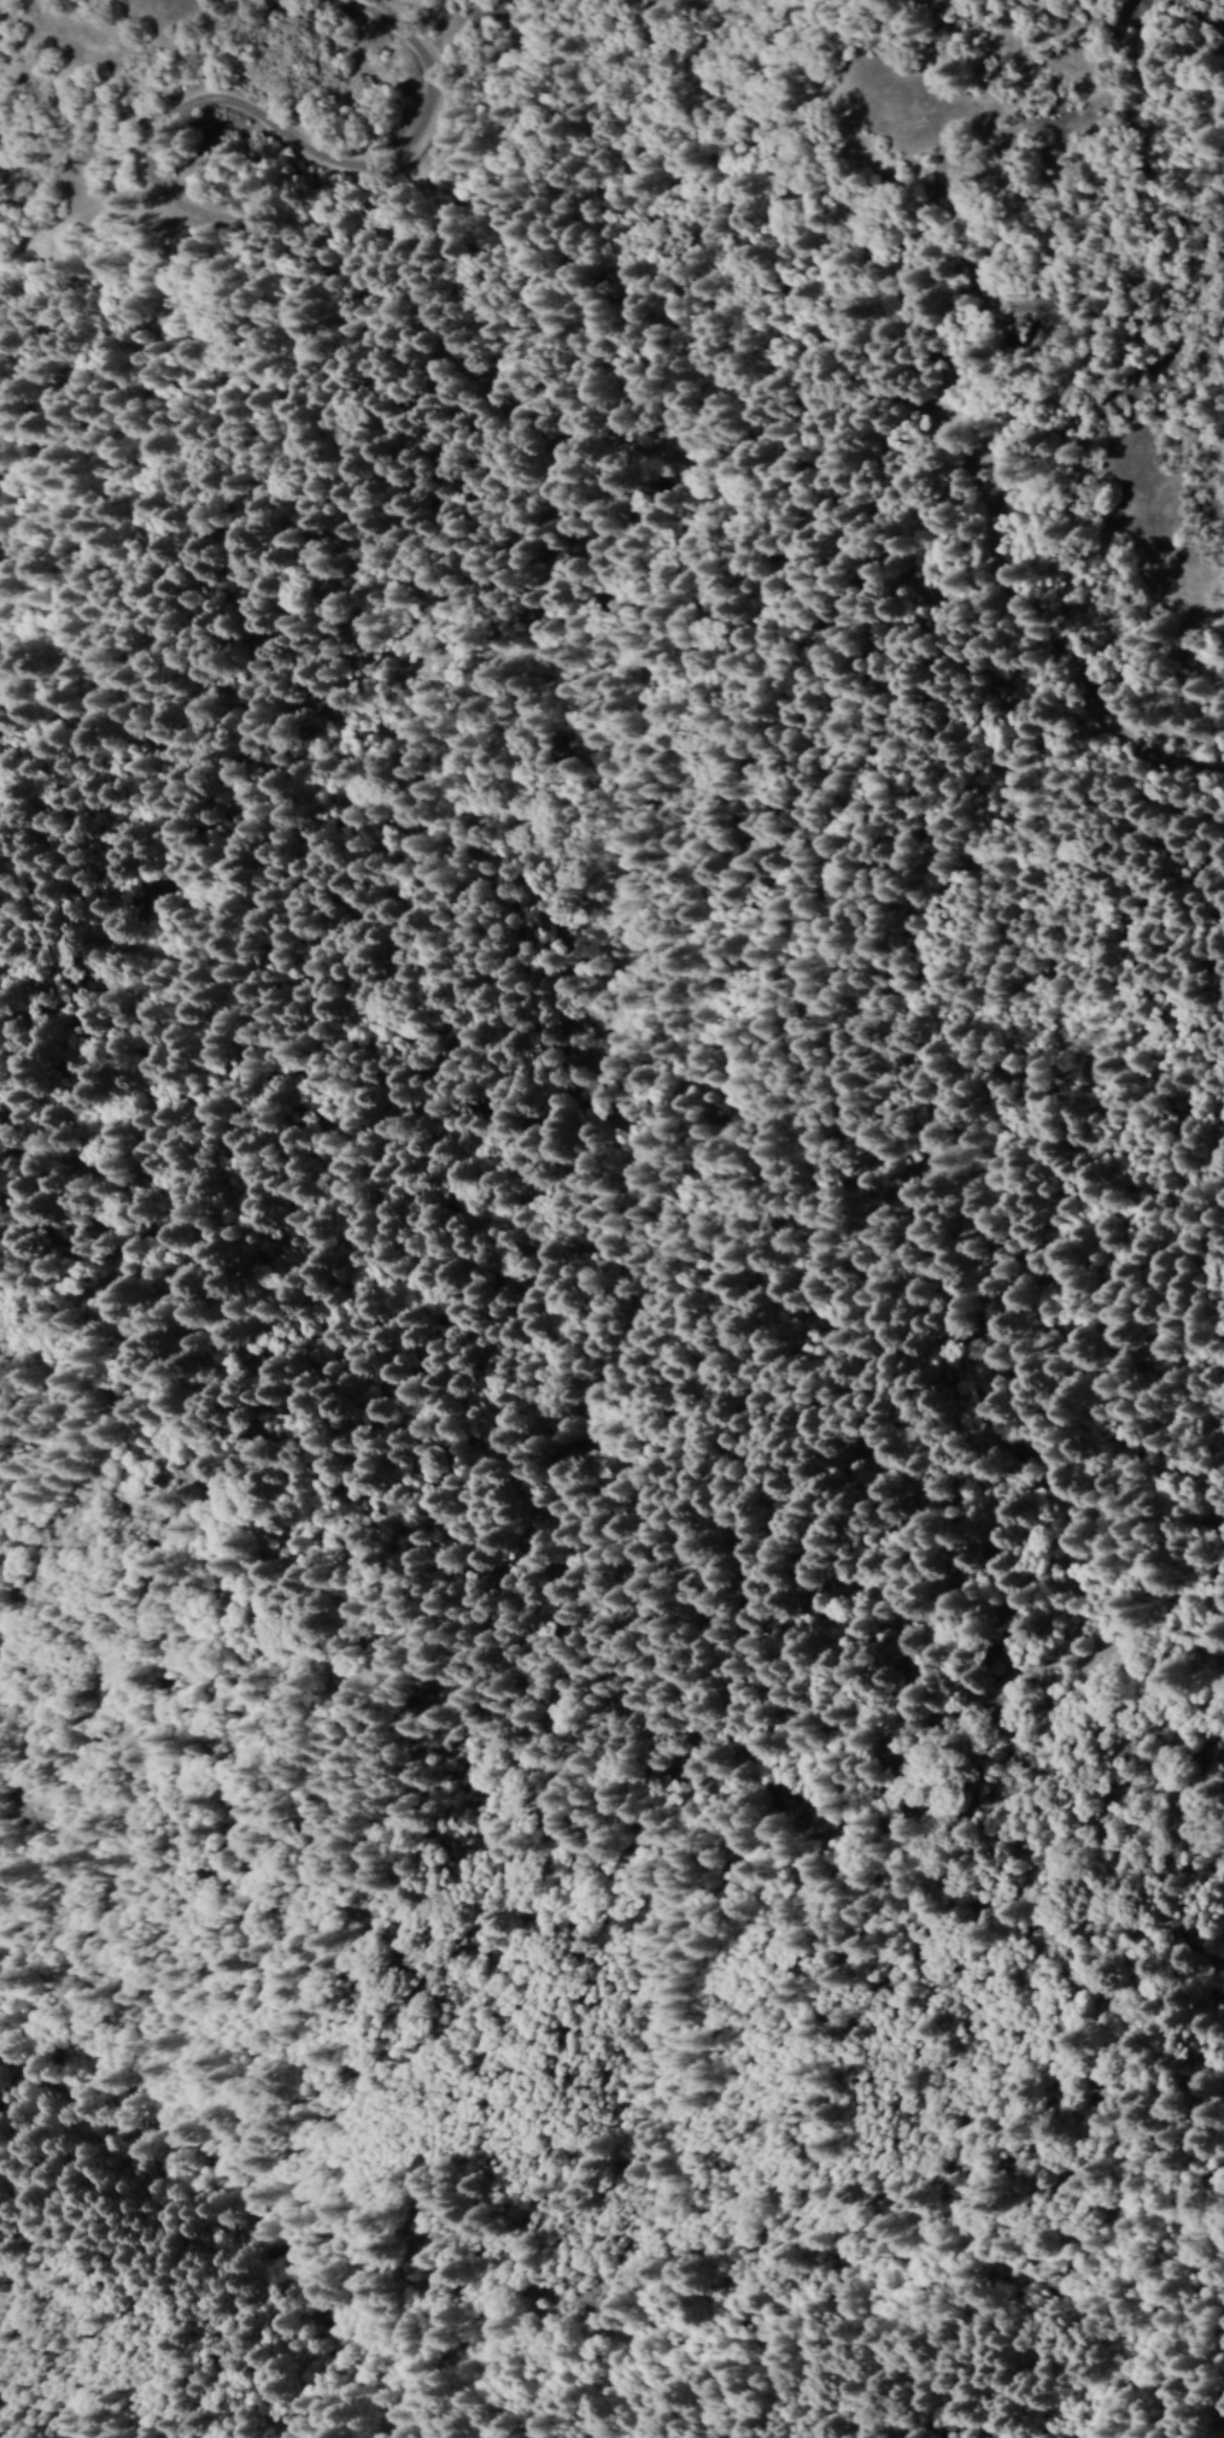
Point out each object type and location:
road: (664, 422)
road: (1056, 1009)
road: (1220, 2434)

